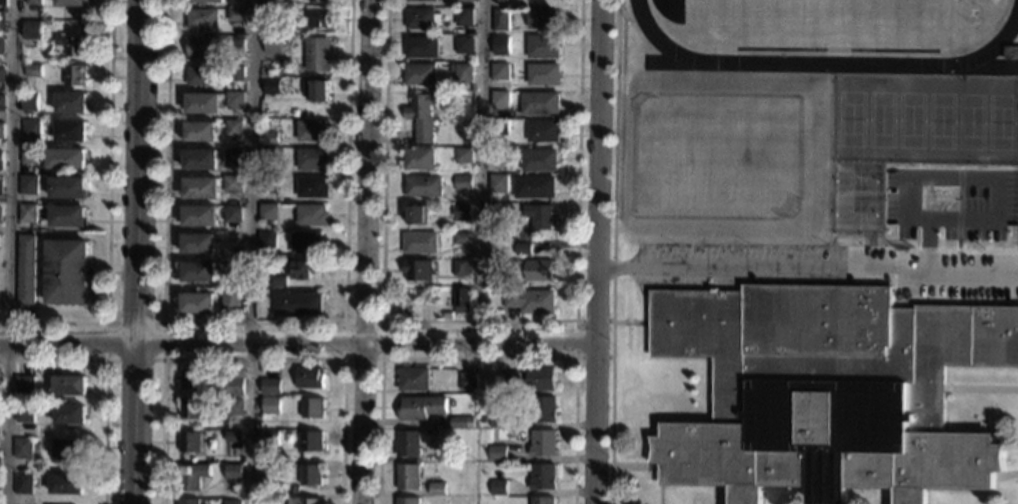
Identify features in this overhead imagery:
building: (420, 0)
building: (207, 1)
building: (320, 1)
building: (465, 1)
building: (506, 1)
building: (3, 2)
building: (33, 2)
building: (71, 3)
building: (272, 14)
building: (235, 15)
building: (465, 17)
building: (201, 18)
building: (317, 18)
building: (544, 18)
building: (2, 19)
building: (422, 19)
building: (501, 20)
park: (833, 22)
building: (32, 30)
building: (73, 44)
building: (273, 44)
building: (235, 45)
building: (464, 45)
building: (501, 45)
building: (1, 47)
building: (201, 47)
building: (422, 47)
building: (543, 47)
building: (318, 54)
building: (1012, 54)
building: (32, 70)
building: (500, 71)
building: (235, 73)
building: (464, 73)
building: (543, 74)
building: (1, 75)
building: (75, 75)
building: (421, 75)
building: (202, 76)
building: (271, 87)
building: (317, 91)
building: (30, 99)
building: (235, 100)
building: (500, 100)
building: (2, 103)
building: (71, 103)
building: (202, 103)
building: (540, 104)
building: (424, 115)
building: (500, 127)
building: (233, 129)
building: (31, 130)
building: (313, 130)
building: (1, 131)
building: (70, 131)
building: (543, 131)
building: (200, 132)
building: (269, 138)
building: (28, 156)
building: (269, 156)
building: (463, 156)
building: (233, 157)
building: (66, 159)
building: (200, 159)
building: (314, 159)
building: (420, 159)
building: (0, 160)
building: (539, 160)
road: (481, 170)
building: (463, 183)
building: (499, 183)
building: (232, 184)
building: (28, 185)
building: (268, 186)
building: (425, 186)
building: (0, 187)
building: (66, 187)
building: (535, 187)
building: (200, 188)
building: (313, 188)
building: (462, 212)
building: (267, 213)
building: (26, 214)
road: (107, 214)
building: (232, 214)
building: (0, 215)
building: (311, 215)
building: (416, 215)
building: (67, 216)
building: (200, 216)
building: (539, 216)
building: (462, 238)
building: (267, 241)
building: (198, 243)
building: (307, 243)
building: (421, 243)
building: (523, 249)
road: (8, 251)
road: (249, 251)
road: (364, 251)
road: (595, 251)
road: (136, 252)
road: (613, 252)
building: (500, 267)
building: (462, 268)
building: (304, 269)
road: (806, 269)
building: (25, 270)
building: (419, 270)
building: (540, 271)
building: (66, 272)
building: (198, 273)
building: (278, 281)
building: (462, 300)
building: (231, 301)
building: (530, 301)
building: (198, 303)
building: (296, 303)
road: (346, 321)
road: (479, 321)
road: (251, 322)
road: (160, 323)
road: (576, 339)
road: (296, 341)
road: (479, 357)
road: (253, 358)
building: (311, 378)
building: (540, 378)
road: (105, 379)
building: (191, 379)
building: (415, 379)
building: (468, 381)
building: (510, 381)
building: (235, 382)
building: (23, 384)
building: (69, 385)
building: (270, 386)
road: (981, 389)
building: (826, 391)
building: (271, 405)
building: (234, 407)
building: (423, 407)
building: (191, 408)
building: (314, 408)
building: (540, 409)
building: (23, 413)
building: (70, 414)
building: (498, 420)
building: (463, 422)
building: (234, 437)
building: (270, 439)
building: (312, 441)
building: (190, 442)
building: (409, 443)
building: (542, 443)
building: (22, 449)
building: (69, 449)
building: (447, 453)
building: (497, 453)
road: (627, 466)
road: (655, 467)
building: (270, 469)
building: (234, 472)
building: (313, 474)
road: (1005, 474)
building: (192, 476)
building: (410, 477)
building: (542, 477)
building: (22, 483)
building: (67, 484)
building: (498, 487)
building: (297, 489)
building: (439, 489)
building: (269, 500)
building: (542, 500)
building: (188, 501)
building: (307, 501)
building: (409, 501)
building: (234, 502)

